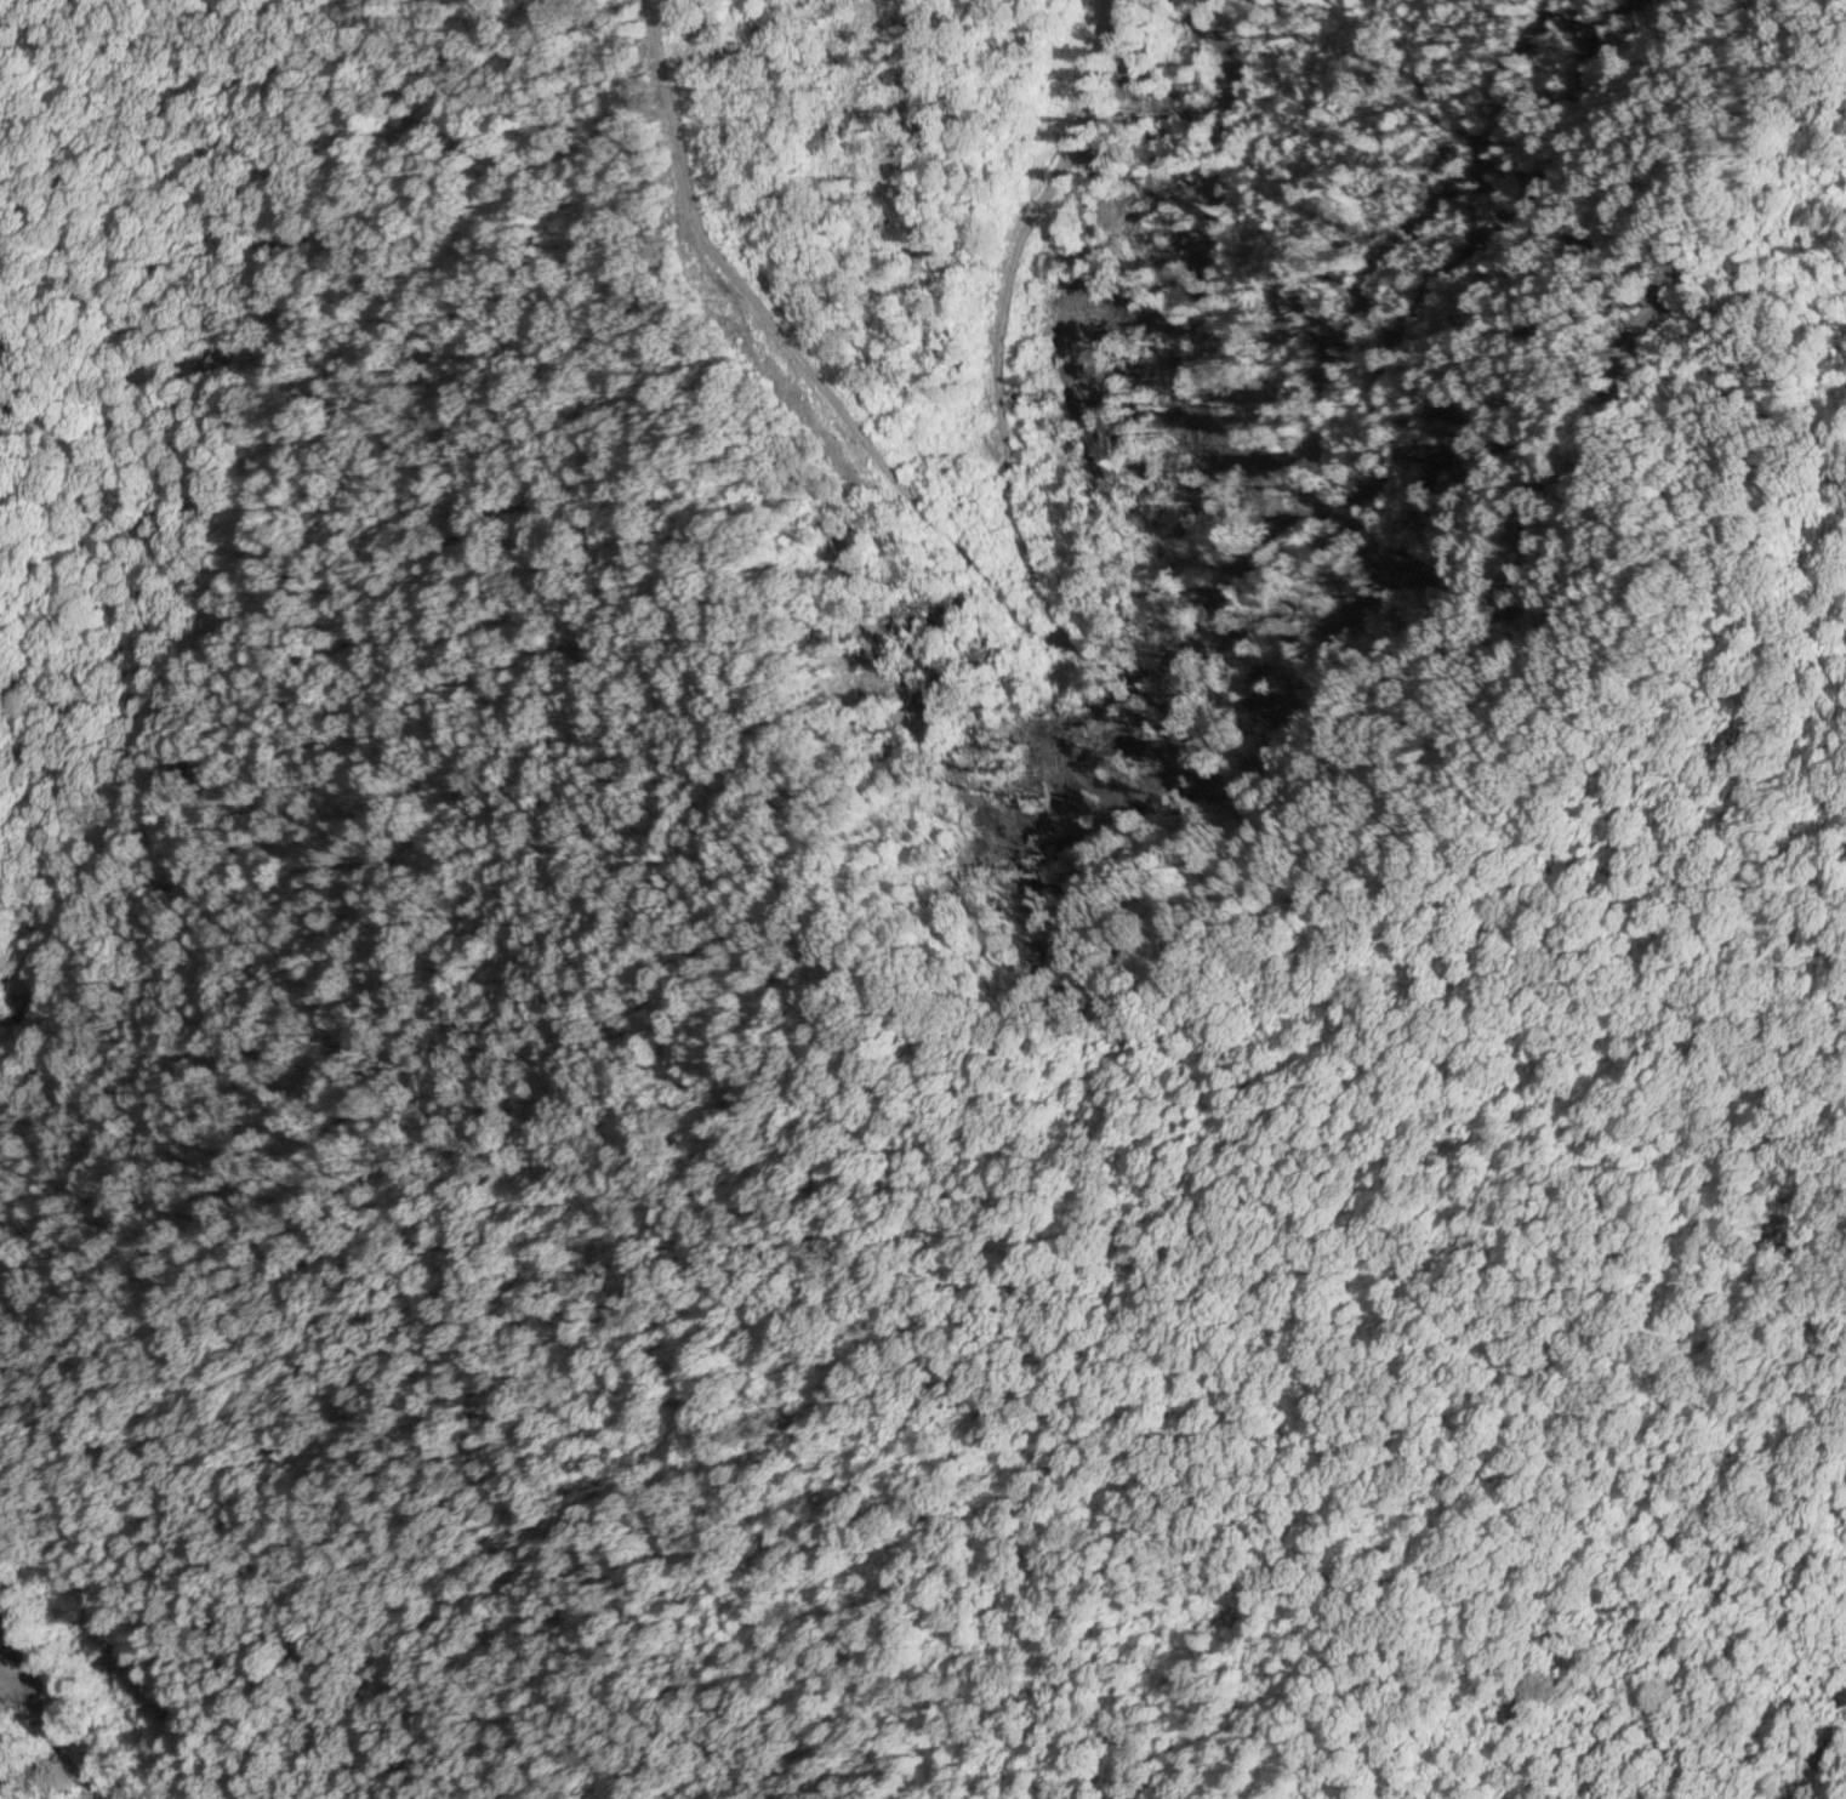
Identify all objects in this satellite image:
road: (38, 1774)

